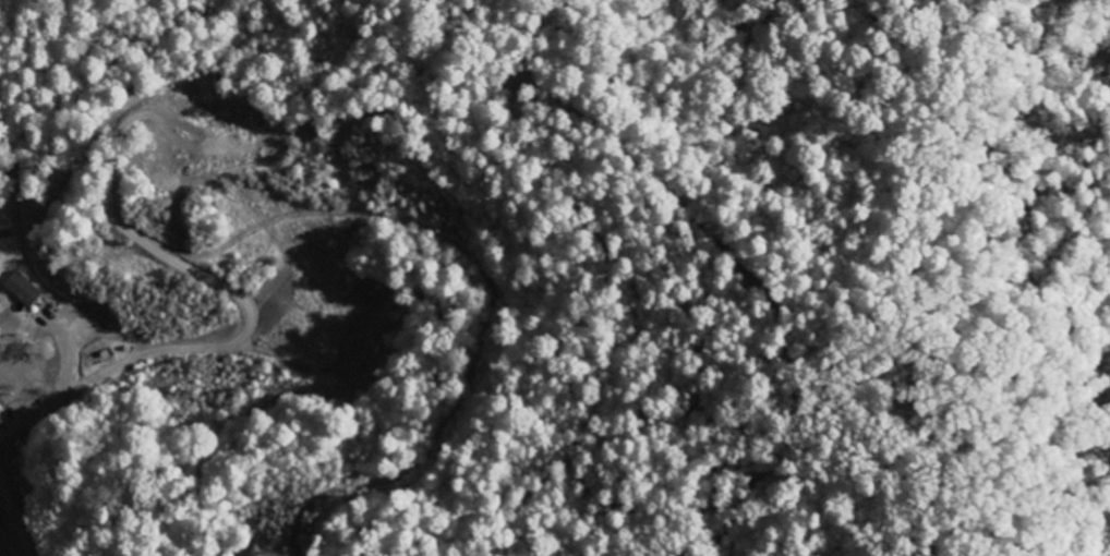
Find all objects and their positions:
building: (24, 289)
road: (19, 510)

